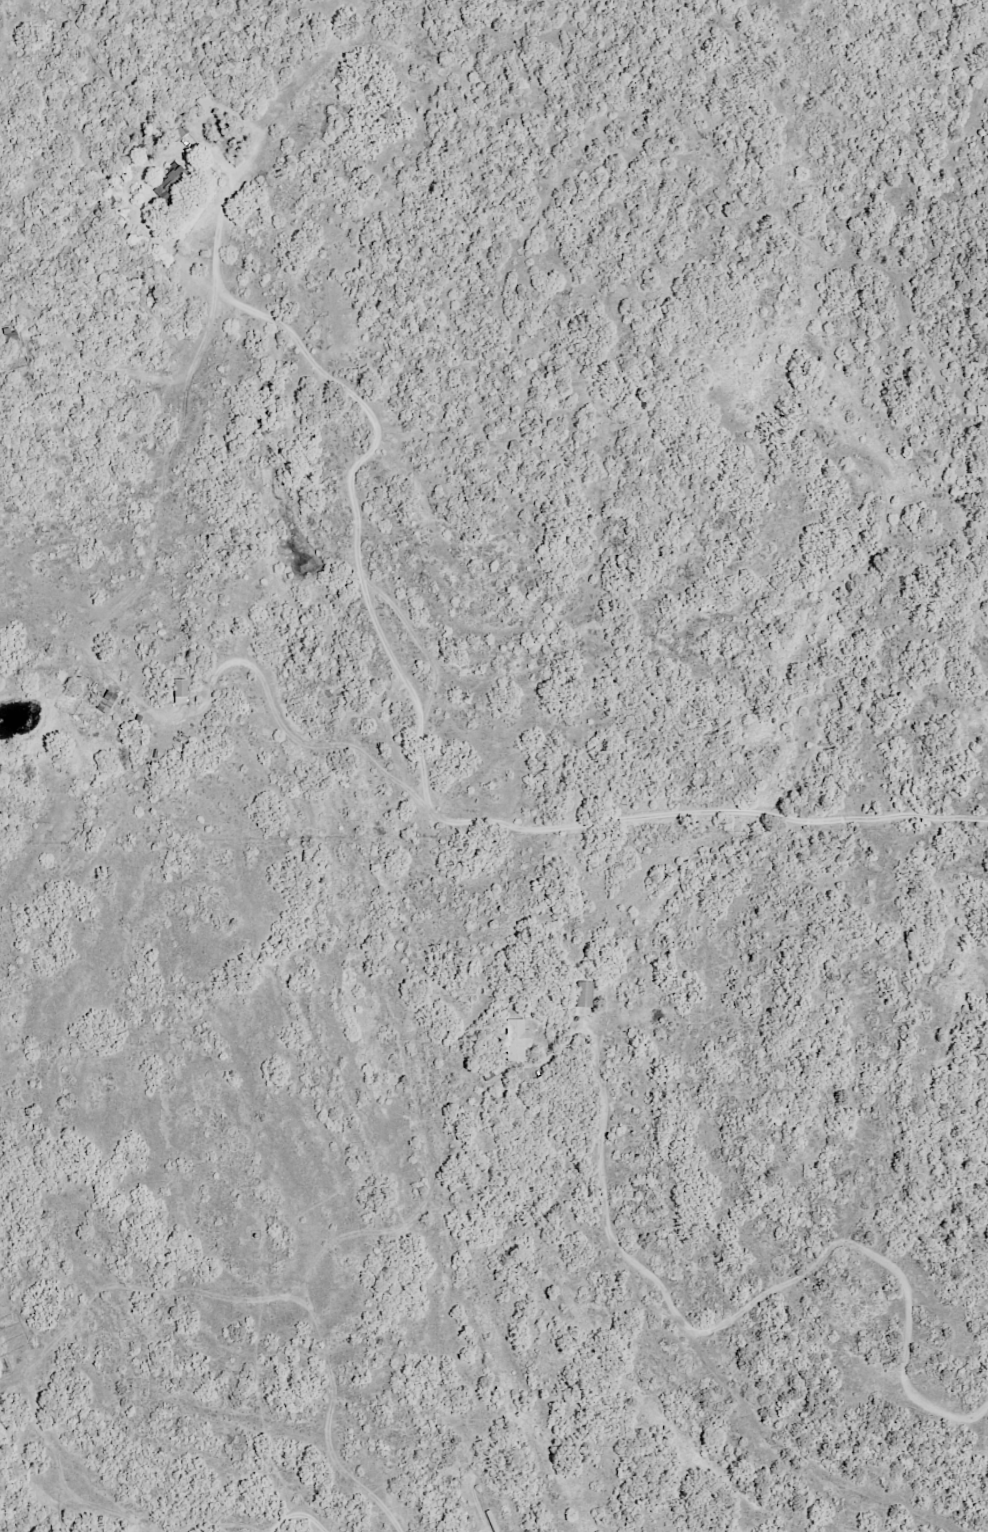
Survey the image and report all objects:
building: (206, 101)
building: (181, 129)
building: (172, 182)
road: (270, 310)
building: (14, 337)
road: (146, 372)
building: (183, 691)
building: (110, 702)
road: (500, 819)
building: (588, 995)
building: (520, 1040)
road: (721, 1325)
road: (298, 1512)
road: (394, 1513)

